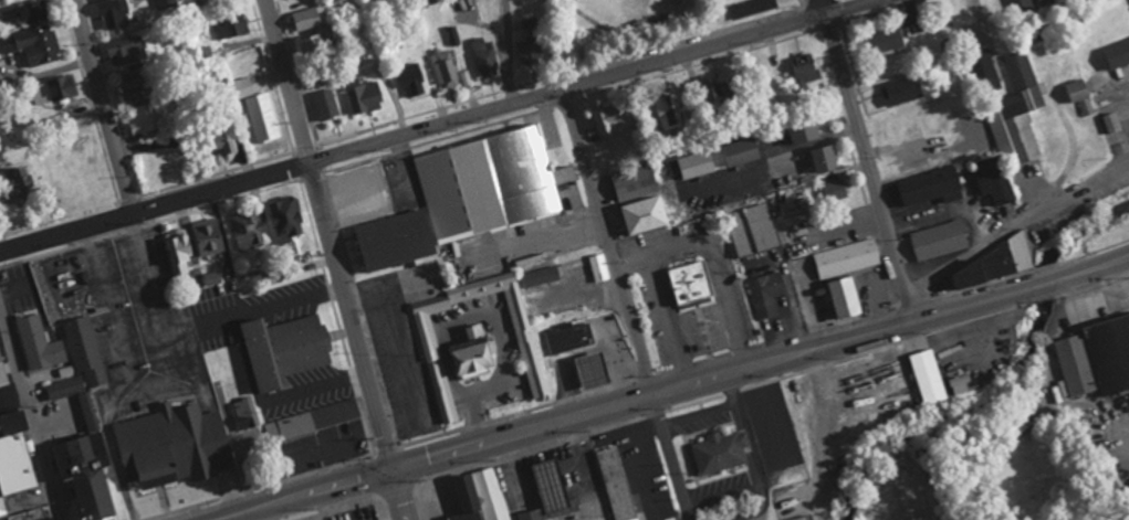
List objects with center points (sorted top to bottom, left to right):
building: (207, 0)
building: (1084, 0)
building: (166, 3)
building: (1029, 7)
building: (751, 8)
building: (27, 13)
building: (117, 13)
building: (310, 18)
building: (231, 24)
building: (884, 39)
building: (309, 44)
building: (33, 45)
building: (126, 50)
building: (530, 51)
road: (509, 53)
building: (1117, 54)
building: (485, 57)
building: (446, 67)
building: (983, 71)
building: (804, 73)
building: (407, 77)
building: (241, 87)
building: (53, 89)
building: (717, 89)
building: (1075, 91)
building: (901, 92)
building: (363, 94)
building: (327, 102)
road: (101, 109)
building: (667, 112)
building: (1016, 114)
building: (613, 121)
building: (1116, 121)
building: (258, 124)
road: (442, 127)
building: (801, 130)
building: (220, 140)
building: (739, 152)
building: (820, 159)
road: (869, 159)
building: (694, 165)
building: (83, 168)
building: (52, 182)
building: (492, 183)
building: (629, 184)
building: (13, 185)
building: (928, 187)
building: (995, 187)
building: (834, 191)
building: (285, 216)
building: (641, 216)
road: (1015, 227)
building: (752, 230)
building: (245, 231)
road: (330, 233)
building: (391, 240)
building: (207, 241)
building: (938, 241)
road: (608, 242)
building: (178, 254)
building: (846, 258)
road: (475, 259)
building: (989, 265)
building: (599, 267)
building: (540, 277)
building: (688, 282)
building: (766, 295)
road: (297, 298)
building: (841, 298)
road: (210, 320)
building: (427, 329)
building: (569, 337)
building: (39, 343)
building: (525, 344)
building: (282, 350)
road: (760, 363)
building: (1075, 365)
building: (590, 371)
building: (1, 376)
building: (928, 376)
road: (155, 379)
building: (960, 383)
building: (447, 399)
road: (29, 413)
building: (90, 417)
building: (311, 421)
building: (186, 443)
building: (720, 450)
road: (671, 457)
building: (19, 473)
building: (616, 484)
road: (300, 494)
road: (398, 494)
building: (487, 497)
building: (808, 518)

